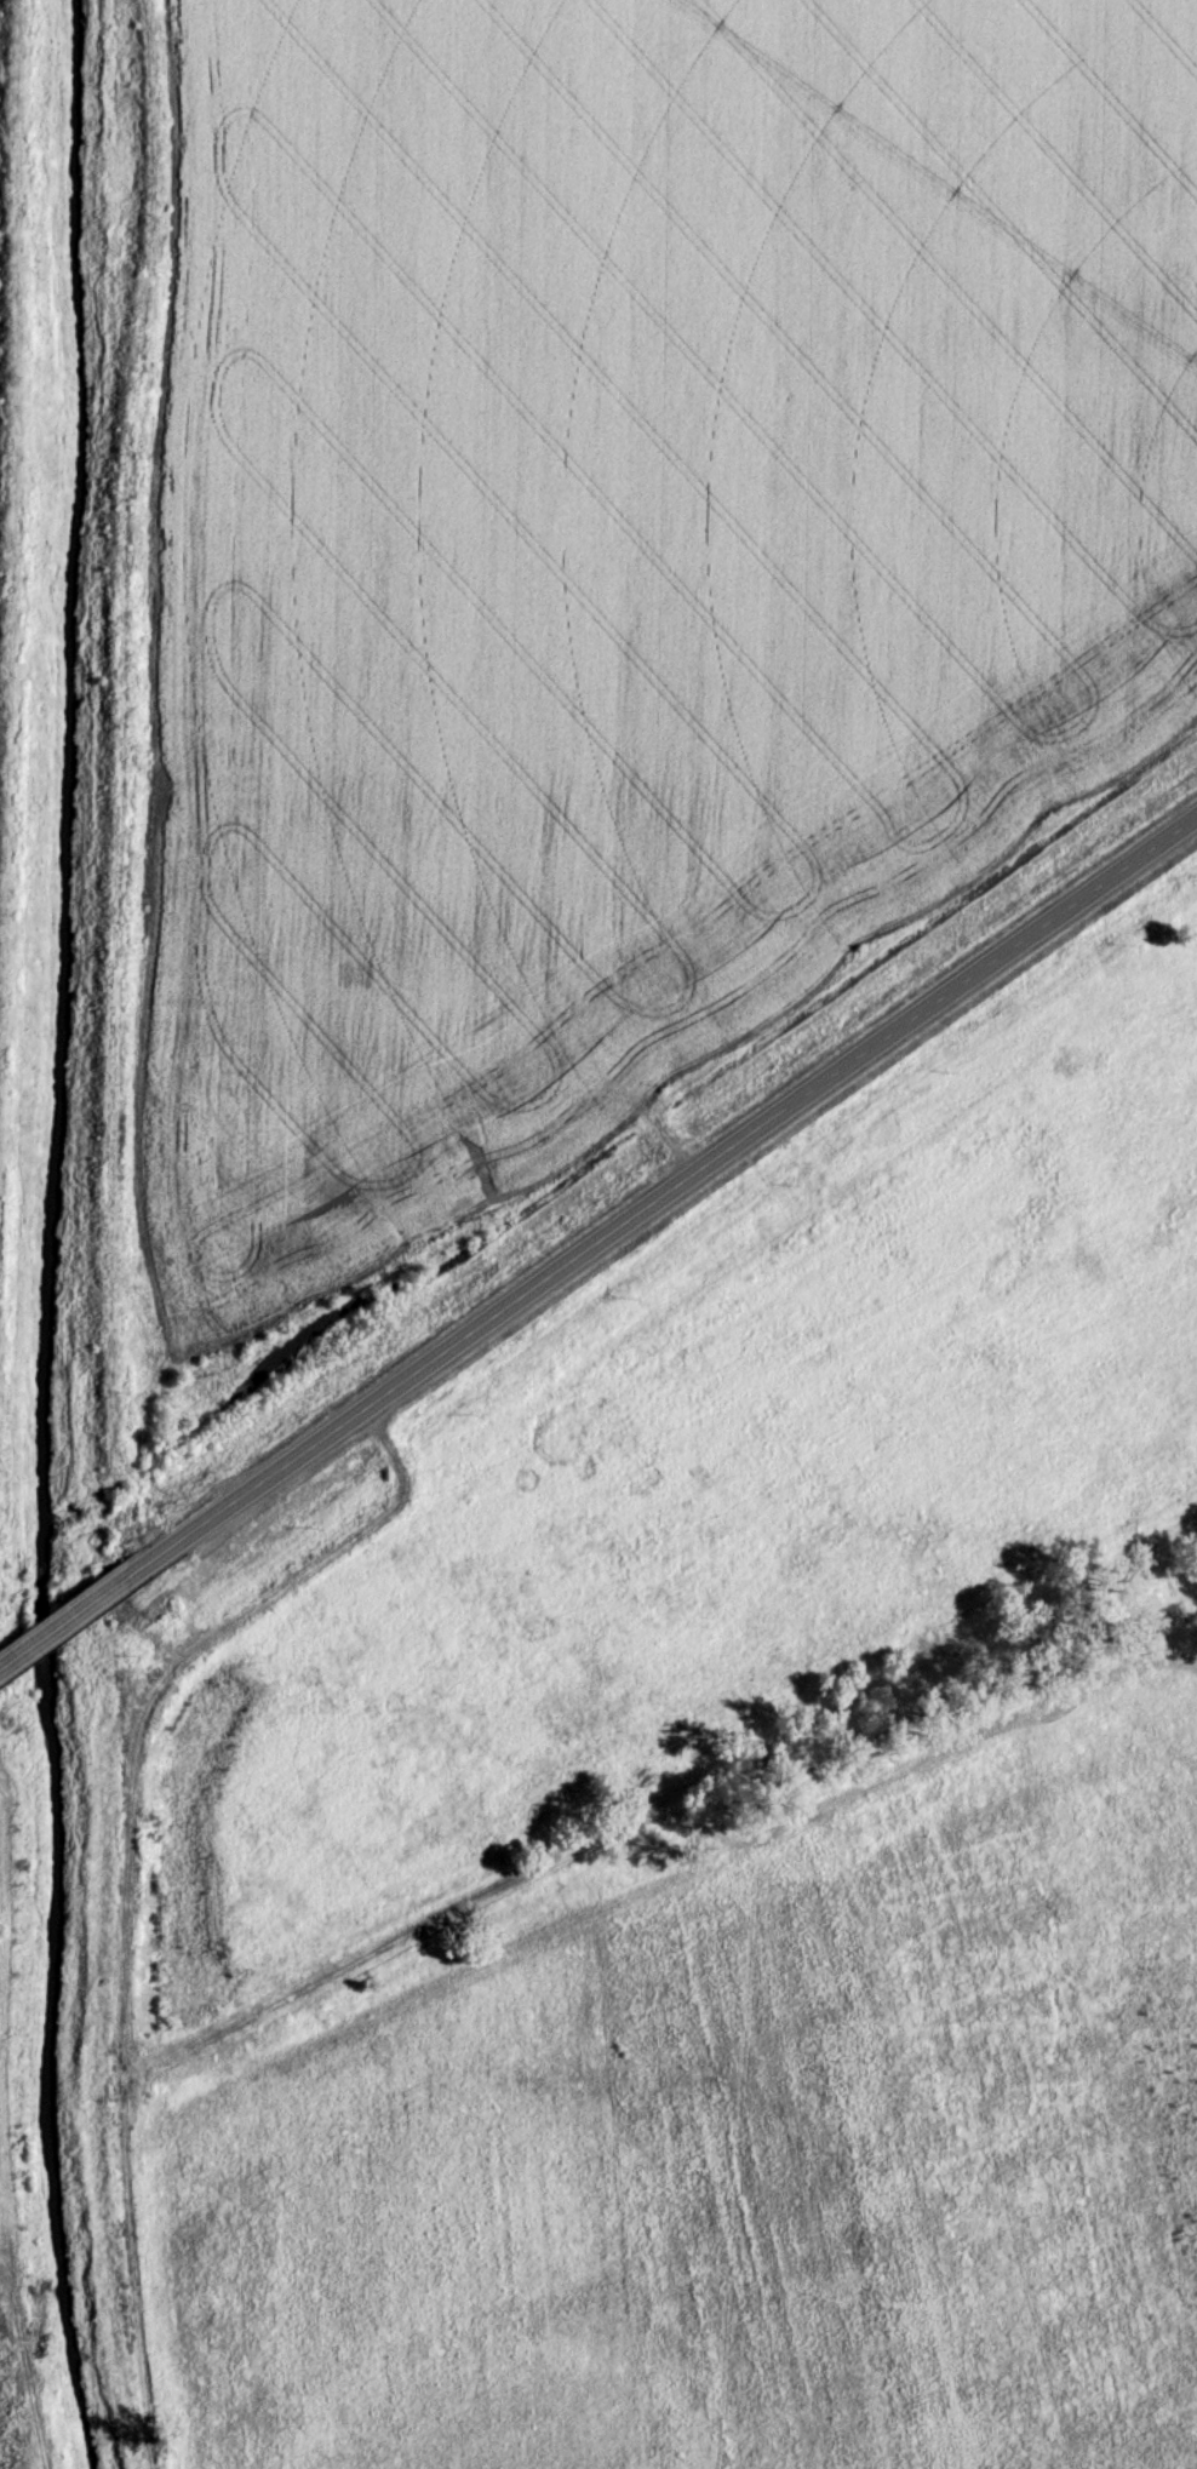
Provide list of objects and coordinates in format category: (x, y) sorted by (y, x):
road: (598, 1281)
road: (113, 1530)
road: (30, 2341)
road: (45, 2445)

